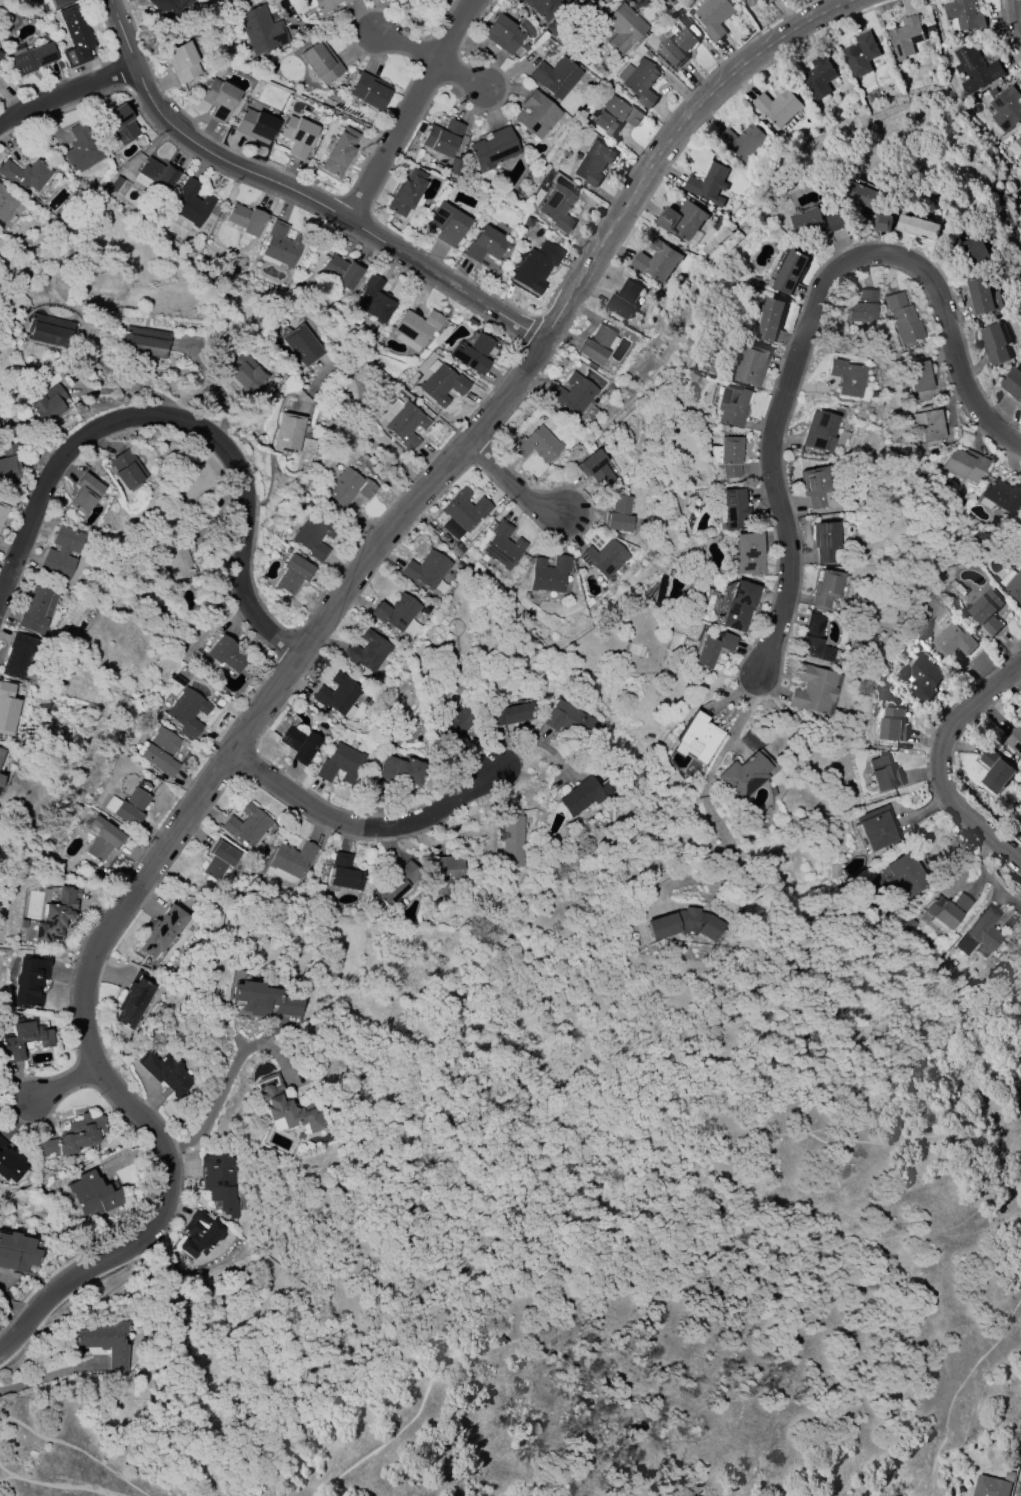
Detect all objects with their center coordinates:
building: (767, 1)
building: (58, 2)
building: (750, 2)
building: (328, 4)
building: (544, 8)
building: (169, 9)
building: (963, 14)
road: (1016, 15)
building: (713, 17)
building: (623, 28)
building: (260, 29)
building: (501, 34)
building: (75, 36)
building: (905, 37)
building: (678, 41)
road: (408, 47)
building: (860, 53)
building: (0, 57)
building: (33, 58)
building: (181, 62)
building: (320, 62)
building: (974, 67)
road: (463, 76)
building: (555, 77)
building: (817, 77)
building: (639, 81)
road: (66, 91)
building: (370, 91)
building: (219, 99)
building: (777, 107)
road: (412, 108)
building: (1005, 108)
building: (537, 115)
building: (615, 116)
building: (120, 123)
building: (255, 125)
building: (298, 136)
building: (441, 139)
building: (742, 141)
building: (1018, 141)
building: (80, 149)
building: (492, 149)
building: (340, 151)
building: (592, 163)
building: (25, 175)
building: (155, 177)
building: (116, 183)
building: (708, 184)
building: (406, 193)
building: (861, 193)
road: (299, 194)
building: (6, 203)
building: (189, 206)
building: (557, 207)
building: (680, 220)
building: (807, 221)
building: (244, 222)
building: (834, 222)
building: (882, 223)
building: (447, 224)
building: (918, 226)
building: (486, 244)
building: (280, 246)
building: (973, 248)
building: (656, 261)
building: (537, 267)
building: (342, 271)
building: (790, 272)
building: (983, 295)
building: (373, 299)
building: (624, 299)
building: (863, 307)
building: (903, 318)
building: (769, 319)
road: (809, 328)
building: (415, 329)
building: (49, 330)
building: (146, 342)
building: (994, 344)
building: (597, 345)
building: (302, 346)
building: (472, 353)
building: (750, 365)
building: (246, 372)
building: (918, 375)
building: (693, 377)
building: (846, 377)
building: (441, 383)
building: (1012, 383)
road: (133, 387)
building: (573, 395)
building: (49, 404)
building: (732, 406)
road: (187, 422)
building: (402, 423)
building: (929, 425)
building: (818, 432)
building: (288, 433)
road: (372, 440)
building: (536, 445)
building: (726, 456)
building: (9, 463)
building: (964, 464)
building: (127, 469)
building: (595, 470)
building: (814, 485)
building: (349, 487)
road: (511, 487)
building: (84, 494)
building: (1003, 495)
building: (464, 510)
building: (732, 510)
building: (2, 511)
building: (619, 514)
building: (314, 536)
building: (824, 541)
building: (503, 546)
building: (60, 554)
building: (746, 554)
building: (180, 557)
building: (604, 559)
building: (426, 569)
building: (293, 574)
building: (547, 574)
building: (1012, 583)
building: (825, 589)
building: (739, 606)
building: (38, 608)
building: (986, 611)
building: (396, 612)
building: (953, 639)
building: (813, 640)
building: (712, 649)
building: (367, 651)
building: (225, 653)
road: (300, 654)
building: (16, 655)
building: (922, 678)
building: (812, 689)
building: (338, 696)
building: (7, 708)
building: (187, 711)
building: (509, 714)
building: (569, 720)
building: (891, 725)
building: (456, 728)
building: (697, 738)
building: (1015, 740)
building: (299, 744)
building: (160, 751)
building: (1, 752)
road: (514, 760)
building: (339, 763)
road: (941, 763)
building: (385, 769)
building: (995, 771)
building: (407, 772)
building: (883, 773)
building: (744, 776)
building: (0, 777)
building: (583, 795)
building: (127, 807)
road: (711, 818)
road: (355, 823)
building: (248, 826)
building: (878, 827)
building: (102, 839)
building: (512, 841)
building: (219, 860)
building: (290, 862)
building: (345, 873)
building: (446, 874)
building: (905, 874)
building: (395, 883)
building: (949, 910)
building: (56, 915)
building: (684, 924)
building: (162, 931)
building: (981, 935)
building: (29, 980)
building: (134, 999)
building: (264, 1000)
building: (287, 1022)
building: (22, 1041)
building: (165, 1073)
road: (64, 1087)
road: (218, 1099)
building: (287, 1108)
building: (74, 1137)
building: (308, 1145)
building: (9, 1163)
building: (219, 1182)
building: (94, 1195)
building: (200, 1236)
building: (17, 1252)
building: (107, 1345)
road: (54, 1482)
building: (989, 1486)

